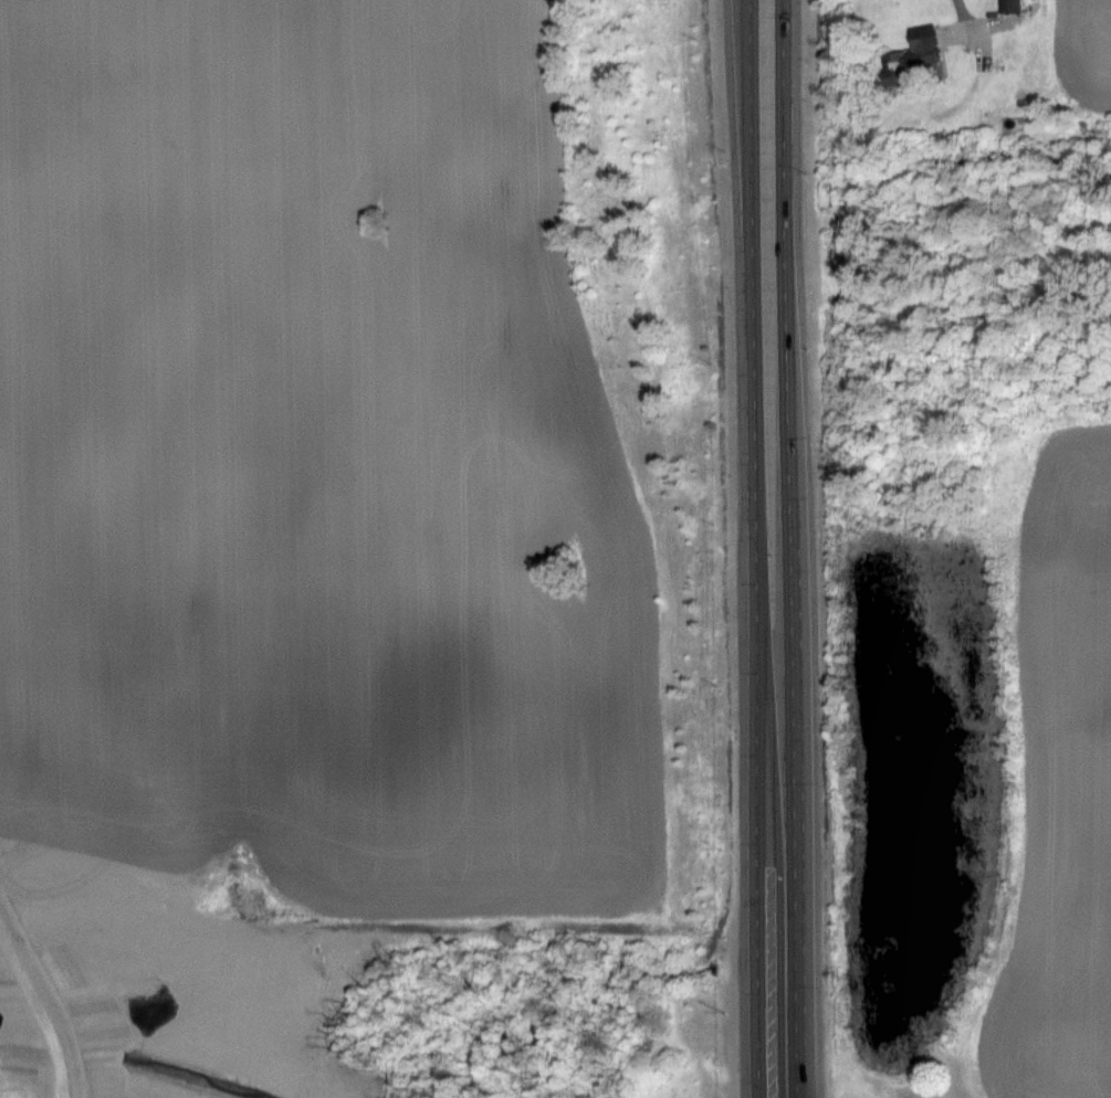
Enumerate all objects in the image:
building: (1012, 6)
road: (958, 8)
building: (912, 56)
road: (756, 448)
road: (785, 448)
crop: (301, 469)
crop: (1061, 784)
road: (775, 997)

